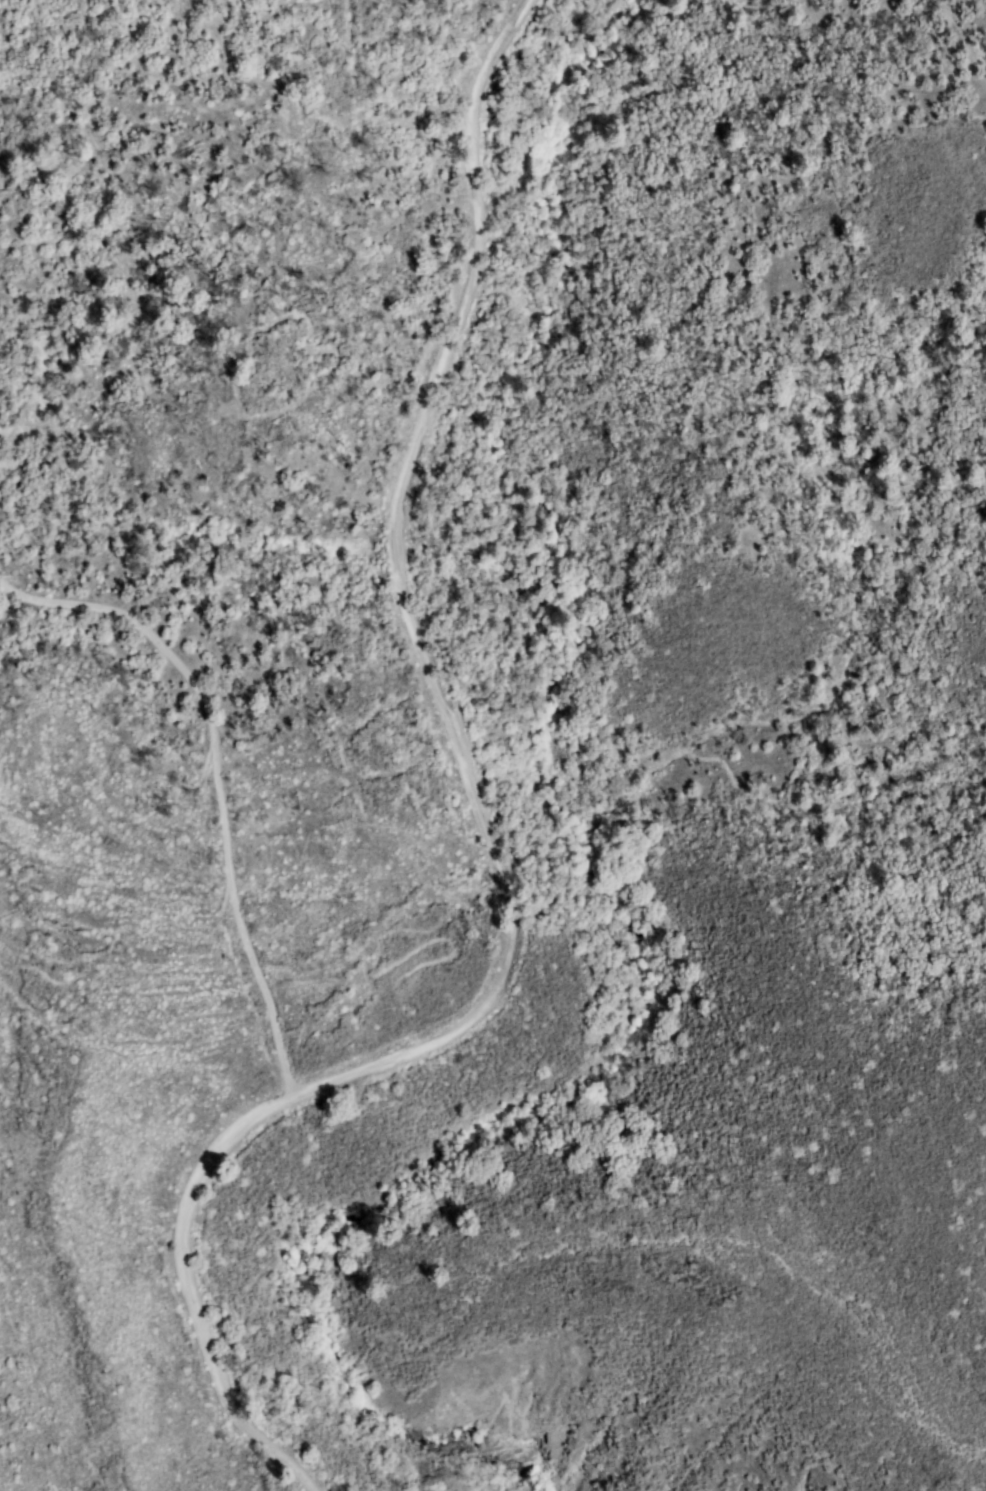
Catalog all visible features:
road: (219, 777)
road: (484, 836)

